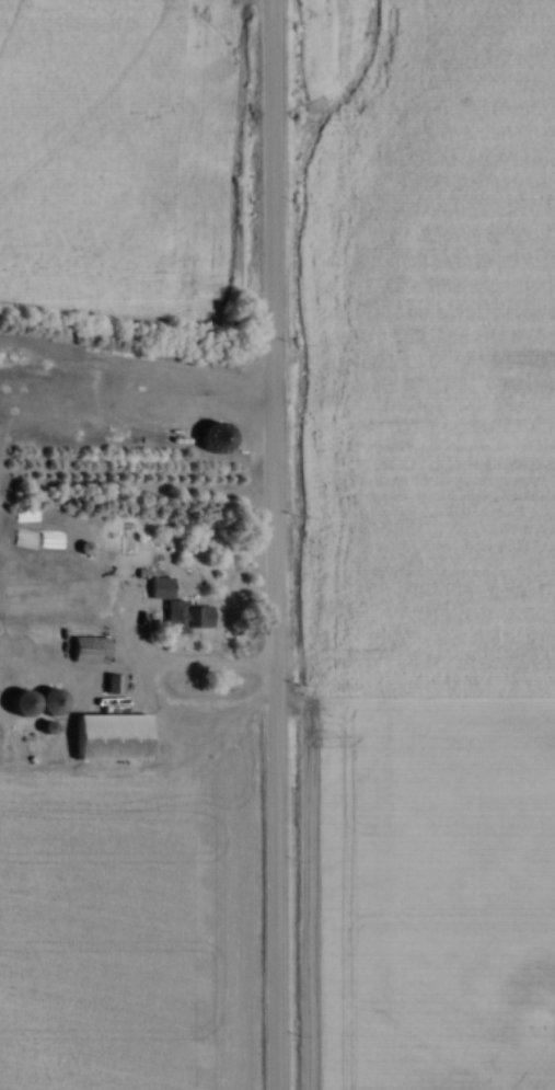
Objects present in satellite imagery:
building: (210, 439)
road: (276, 544)
building: (174, 610)
building: (84, 651)
road: (175, 665)
building: (113, 686)
building: (30, 704)
building: (42, 728)
building: (104, 738)

